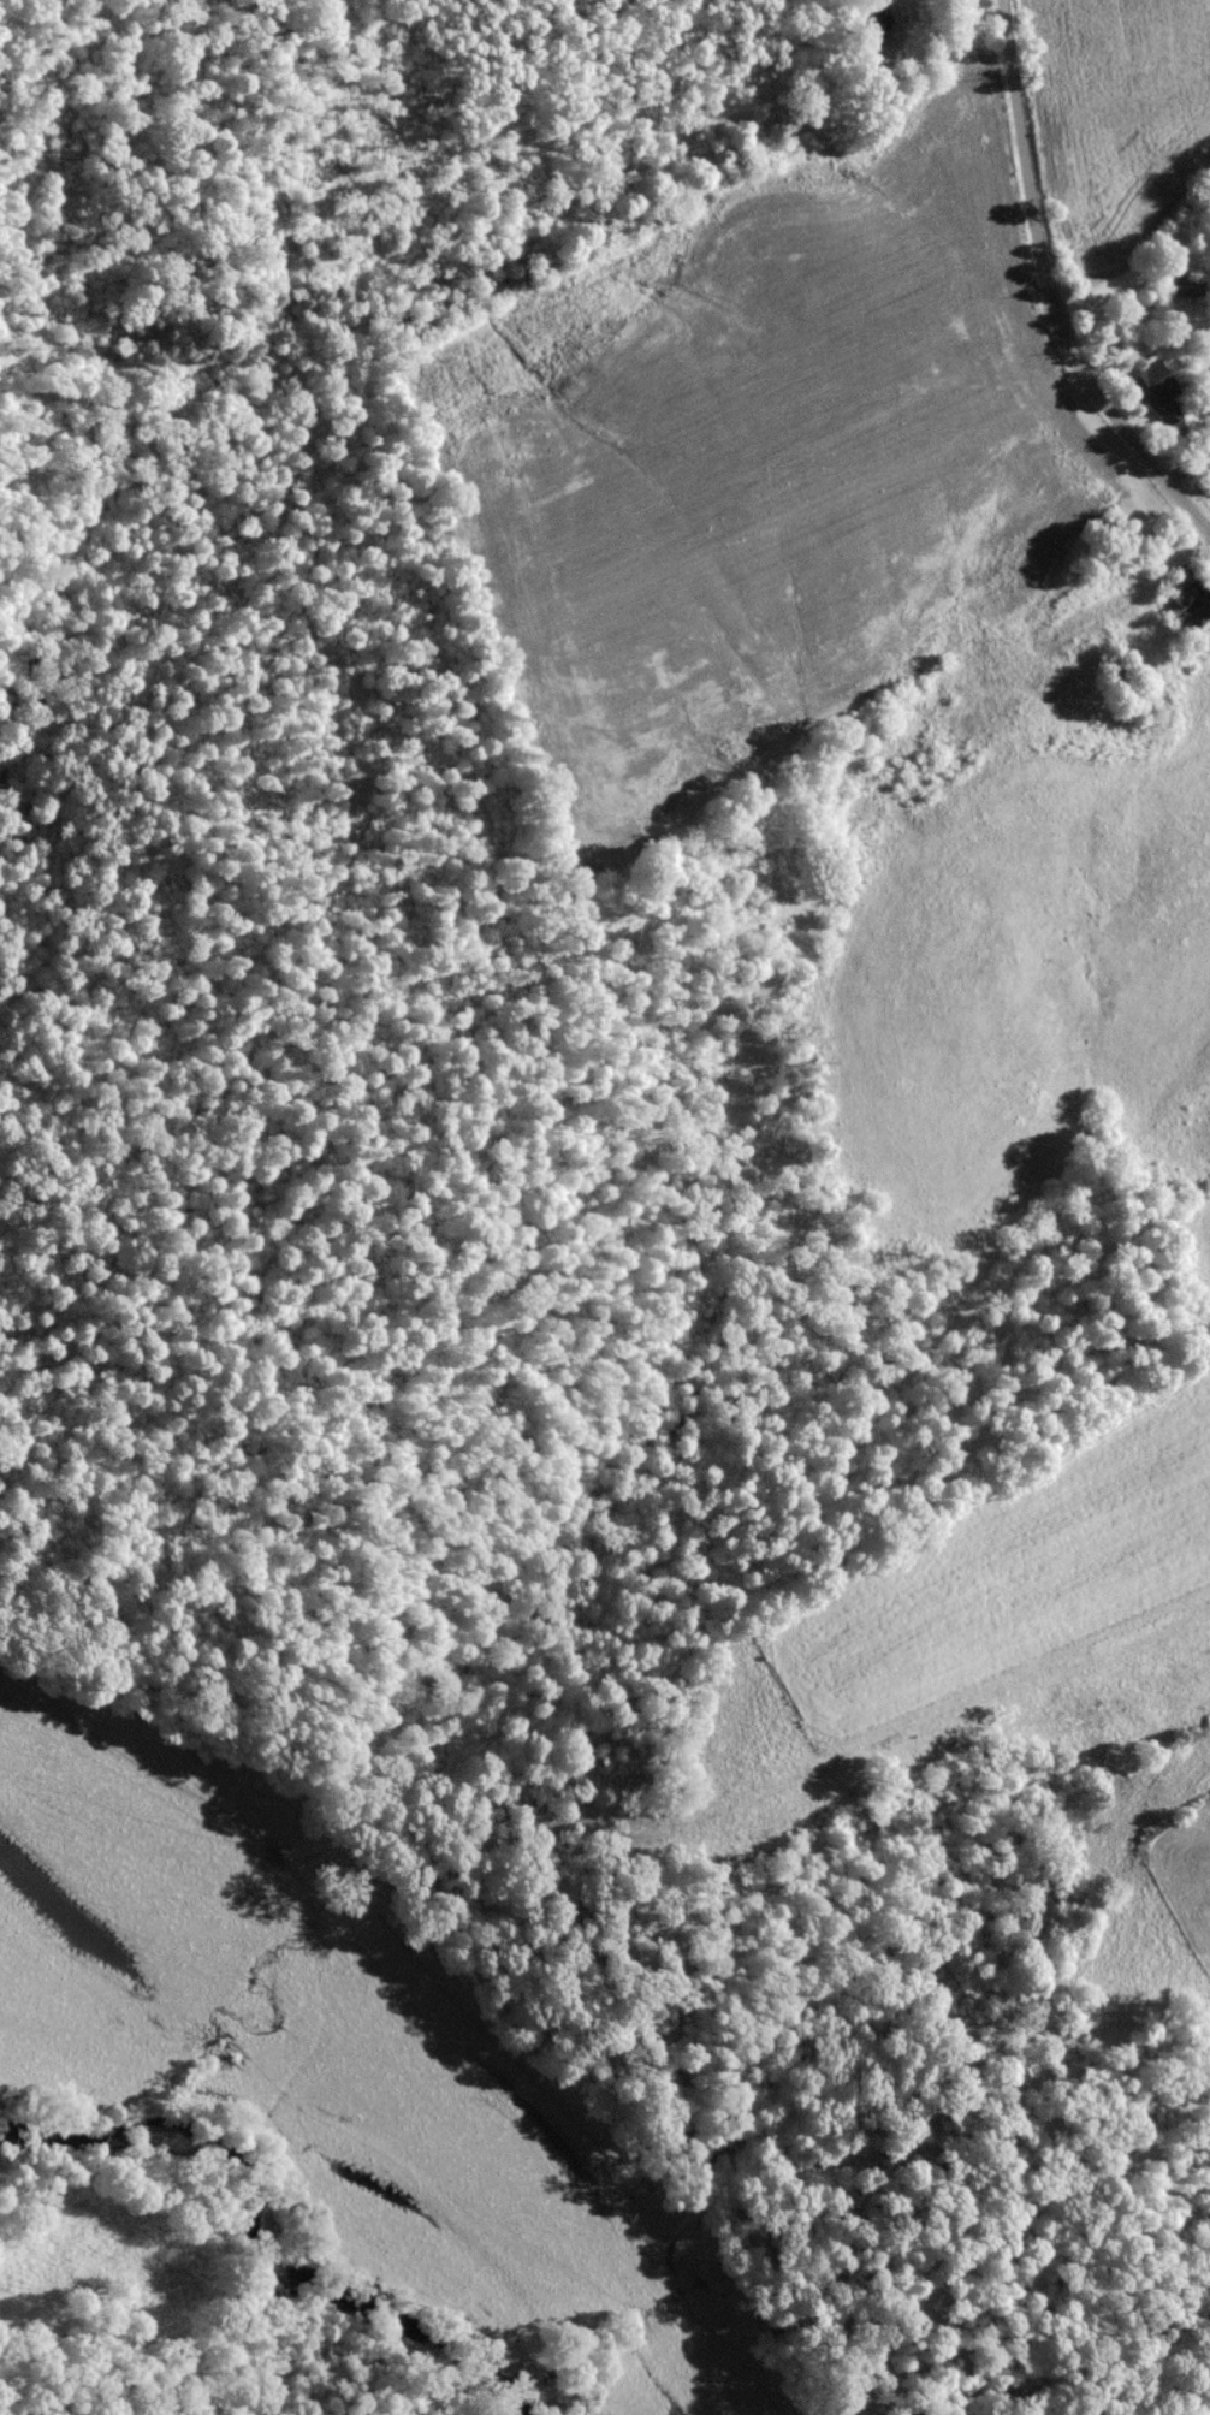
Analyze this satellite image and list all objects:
road: (1081, 267)
building: (1182, 286)
building: (1156, 392)
building: (1188, 597)
building: (1119, 667)

